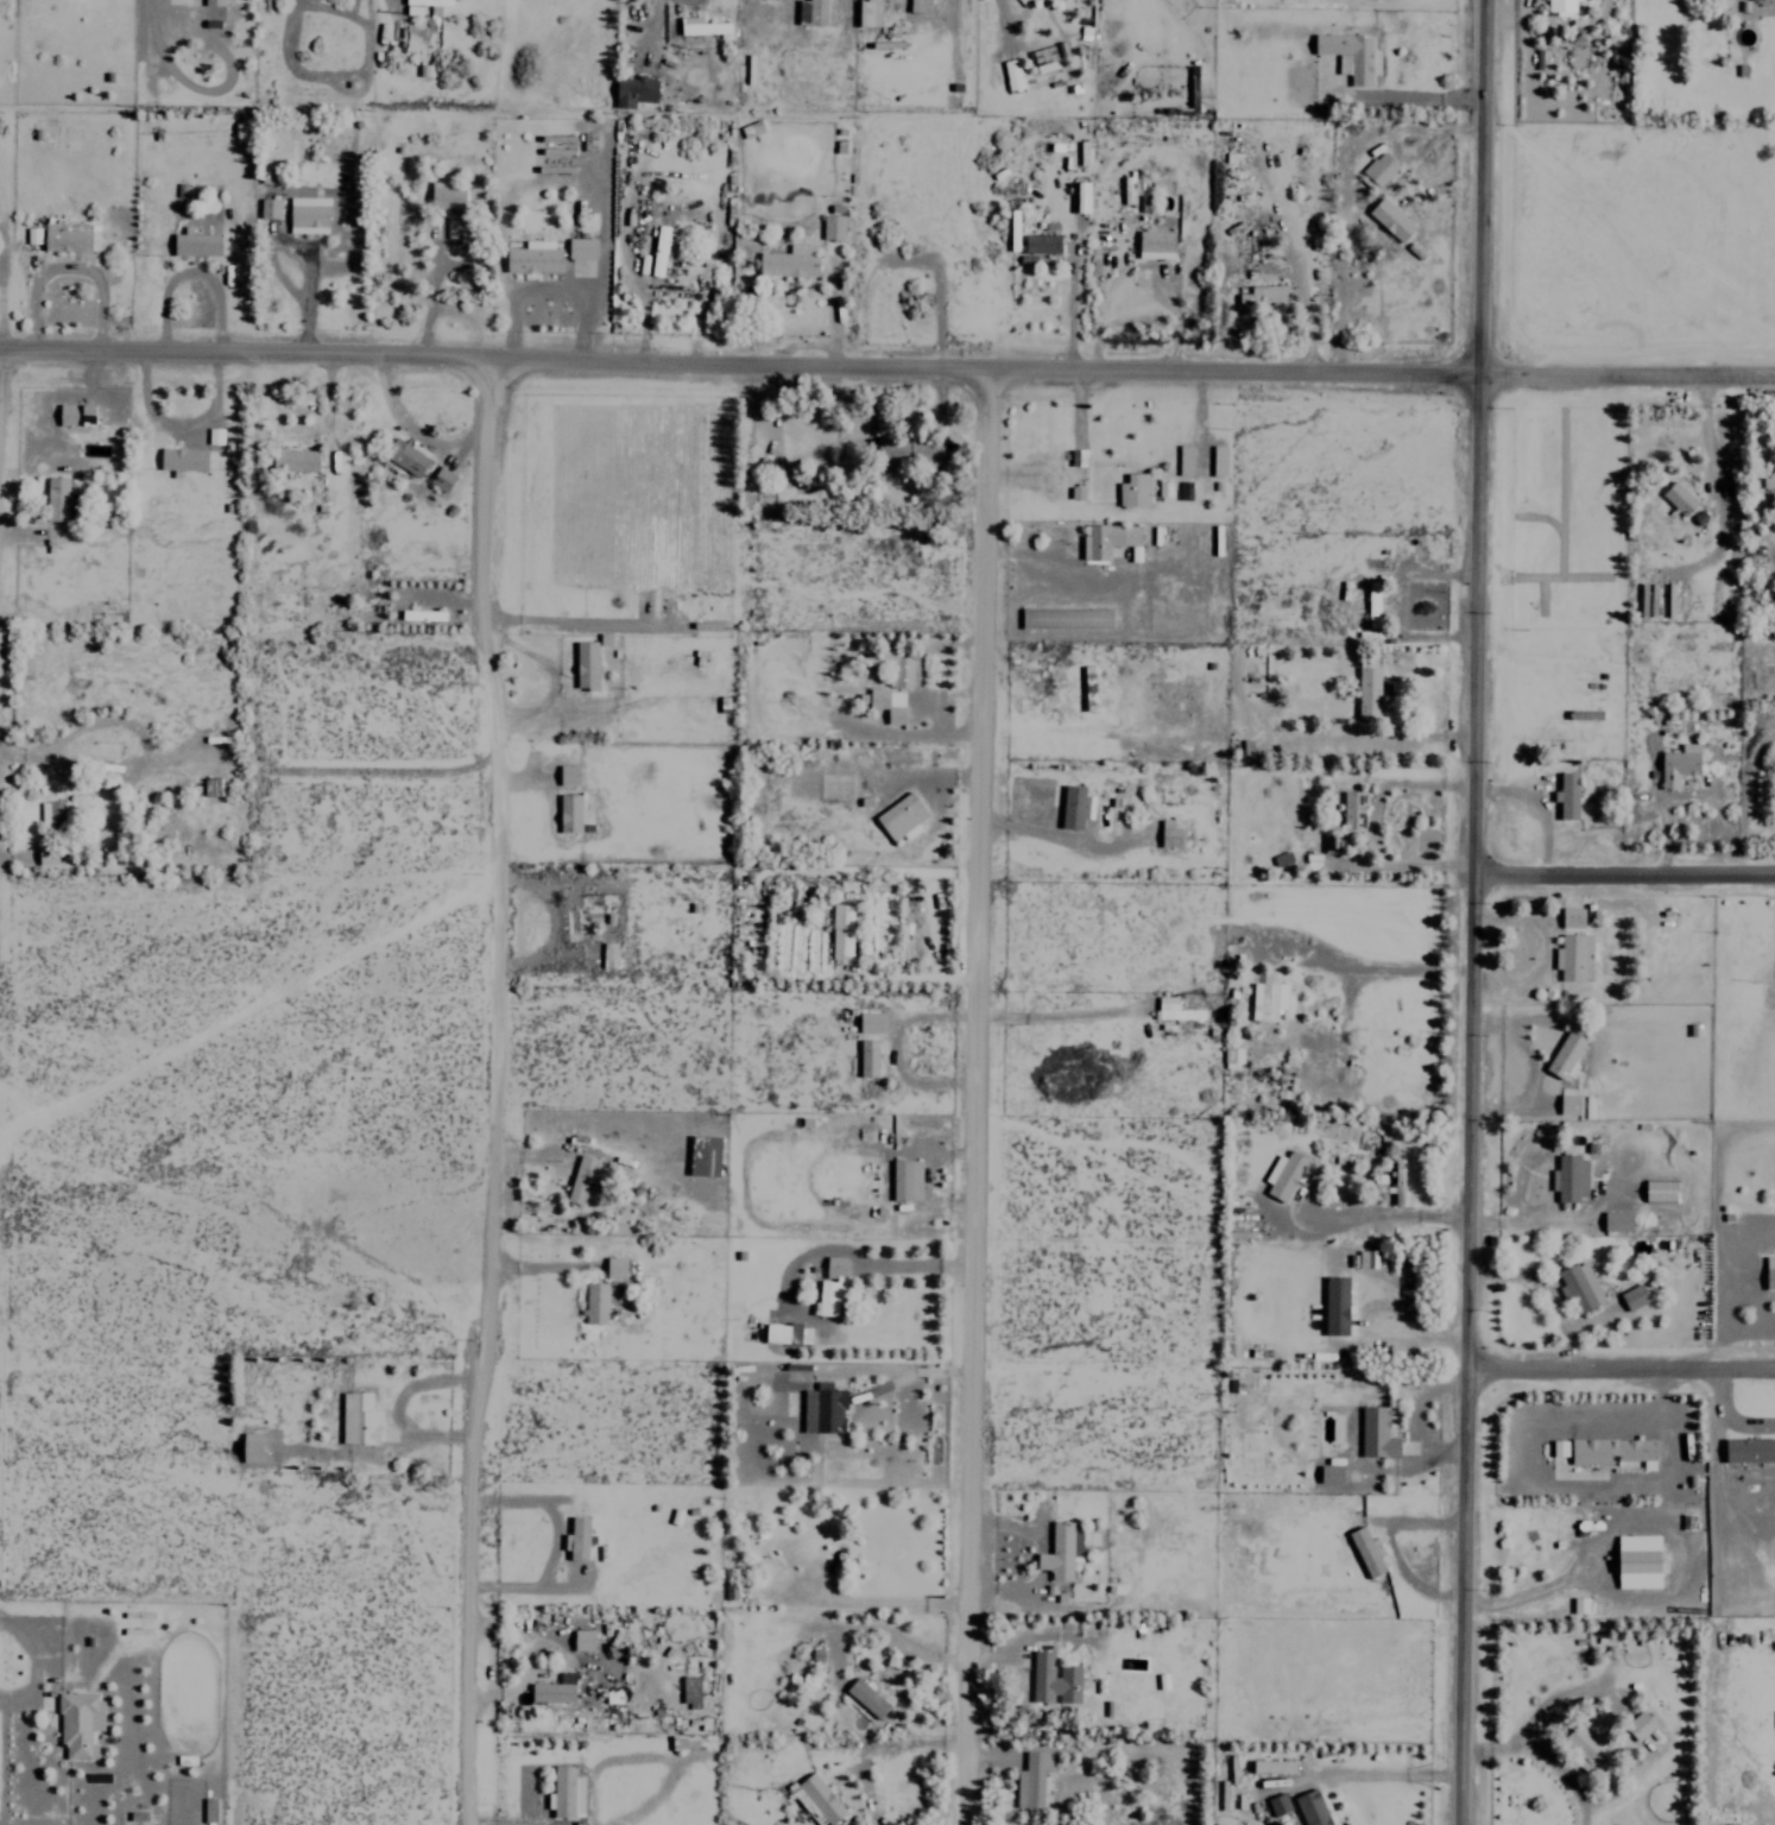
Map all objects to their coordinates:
building: (195, 1)
building: (917, 6)
building: (1560, 7)
building: (810, 12)
building: (868, 12)
building: (701, 25)
building: (1577, 30)
building: (1359, 69)
building: (1010, 74)
building: (633, 90)
building: (751, 128)
building: (1377, 171)
building: (444, 195)
building: (1080, 196)
building: (267, 208)
building: (308, 214)
building: (1390, 219)
building: (453, 227)
building: (832, 227)
building: (31, 234)
building: (65, 235)
building: (195, 242)
building: (1040, 242)
building: (1154, 244)
building: (581, 248)
building: (661, 248)
building: (533, 257)
building: (789, 261)
building: (1263, 293)
road: (886, 361)
building: (75, 415)
building: (213, 435)
building: (404, 457)
building: (182, 459)
building: (1183, 459)
building: (293, 460)
building: (1218, 460)
building: (441, 479)
building: (1767, 482)
building: (1132, 490)
building: (1076, 492)
building: (1678, 498)
building: (56, 499)
building: (1107, 539)
building: (1371, 604)
building: (1066, 617)
building: (585, 664)
building: (893, 667)
building: (1087, 675)
building: (1367, 694)
building: (884, 702)
building: (1679, 765)
building: (568, 775)
building: (1567, 796)
building: (1074, 807)
building: (1352, 810)
building: (568, 813)
building: (53, 816)
building: (901, 817)
building: (1168, 833)
building: (1332, 842)
building: (49, 854)
building: (1281, 858)
building: (1312, 861)
road: (1623, 872)
road: (1470, 911)
building: (1571, 917)
building: (842, 928)
building: (607, 955)
building: (1573, 958)
building: (1266, 997)
building: (1174, 1010)
building: (870, 1022)
building: (1564, 1055)
building: (867, 1057)
building: (1231, 1057)
road: (493, 1088)
road: (971, 1094)
building: (1567, 1104)
building: (703, 1156)
building: (1284, 1174)
building: (1569, 1177)
building: (580, 1180)
building: (905, 1180)
building: (1397, 1181)
building: (1659, 1191)
building: (1617, 1221)
building: (614, 1267)
building: (1769, 1273)
building: (830, 1288)
building: (1579, 1288)
building: (1634, 1297)
building: (594, 1303)
building: (1335, 1306)
building: (785, 1334)
road: (1619, 1360)
building: (822, 1410)
building: (358, 1417)
building: (1376, 1432)
building: (251, 1446)
building: (1558, 1447)
building: (1749, 1448)
building: (1612, 1451)
building: (1329, 1473)
building: (576, 1537)
building: (1060, 1551)
building: (1366, 1551)
building: (1637, 1560)
building: (729, 1589)
building: (1579, 1604)
building: (582, 1640)
building: (1053, 1679)
building: (554, 1688)
building: (690, 1690)
building: (866, 1697)
building: (78, 1723)
building: (1638, 1725)
building: (684, 1742)
building: (1585, 1747)
building: (1272, 1766)
building: (1031, 1779)
building: (567, 1792)
building: (820, 1798)
building: (1277, 1804)
building: (1310, 1807)
building: (208, 1810)

